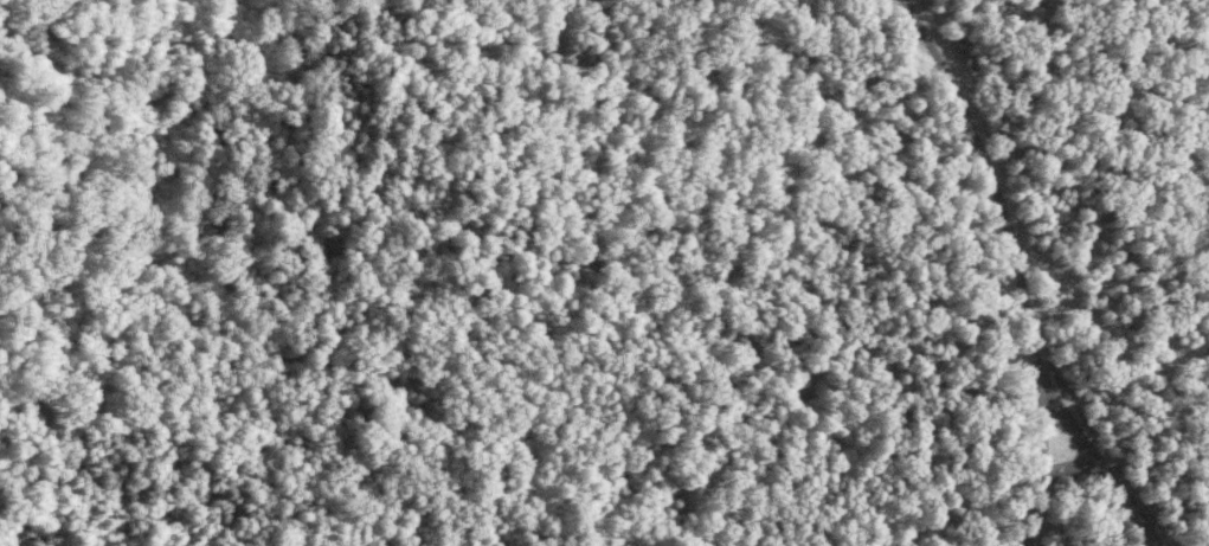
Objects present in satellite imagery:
road: (1018, 262)
road: (1101, 462)
road: (1072, 463)

